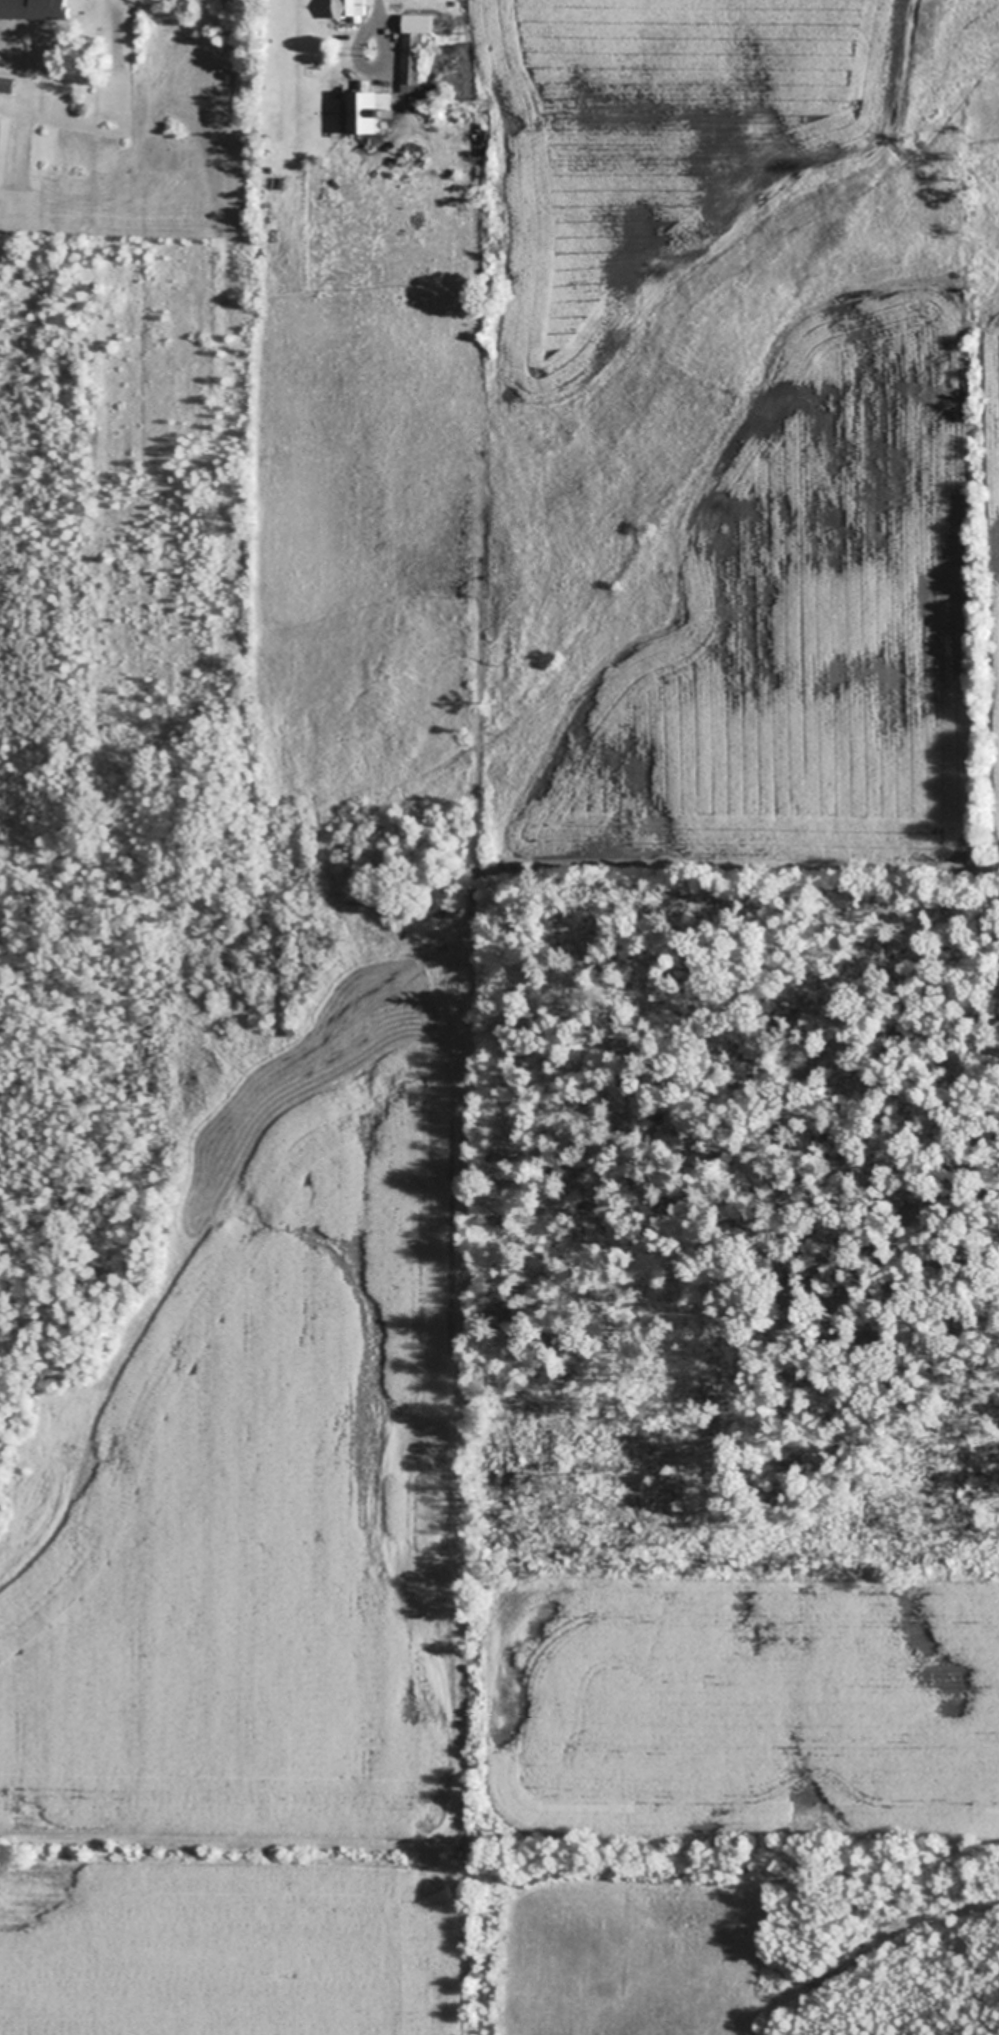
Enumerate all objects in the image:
building: (36, 8)
building: (352, 8)
building: (415, 50)
building: (7, 83)
building: (422, 105)
building: (370, 109)
building: (440, 113)
building: (426, 902)
building: (441, 911)

